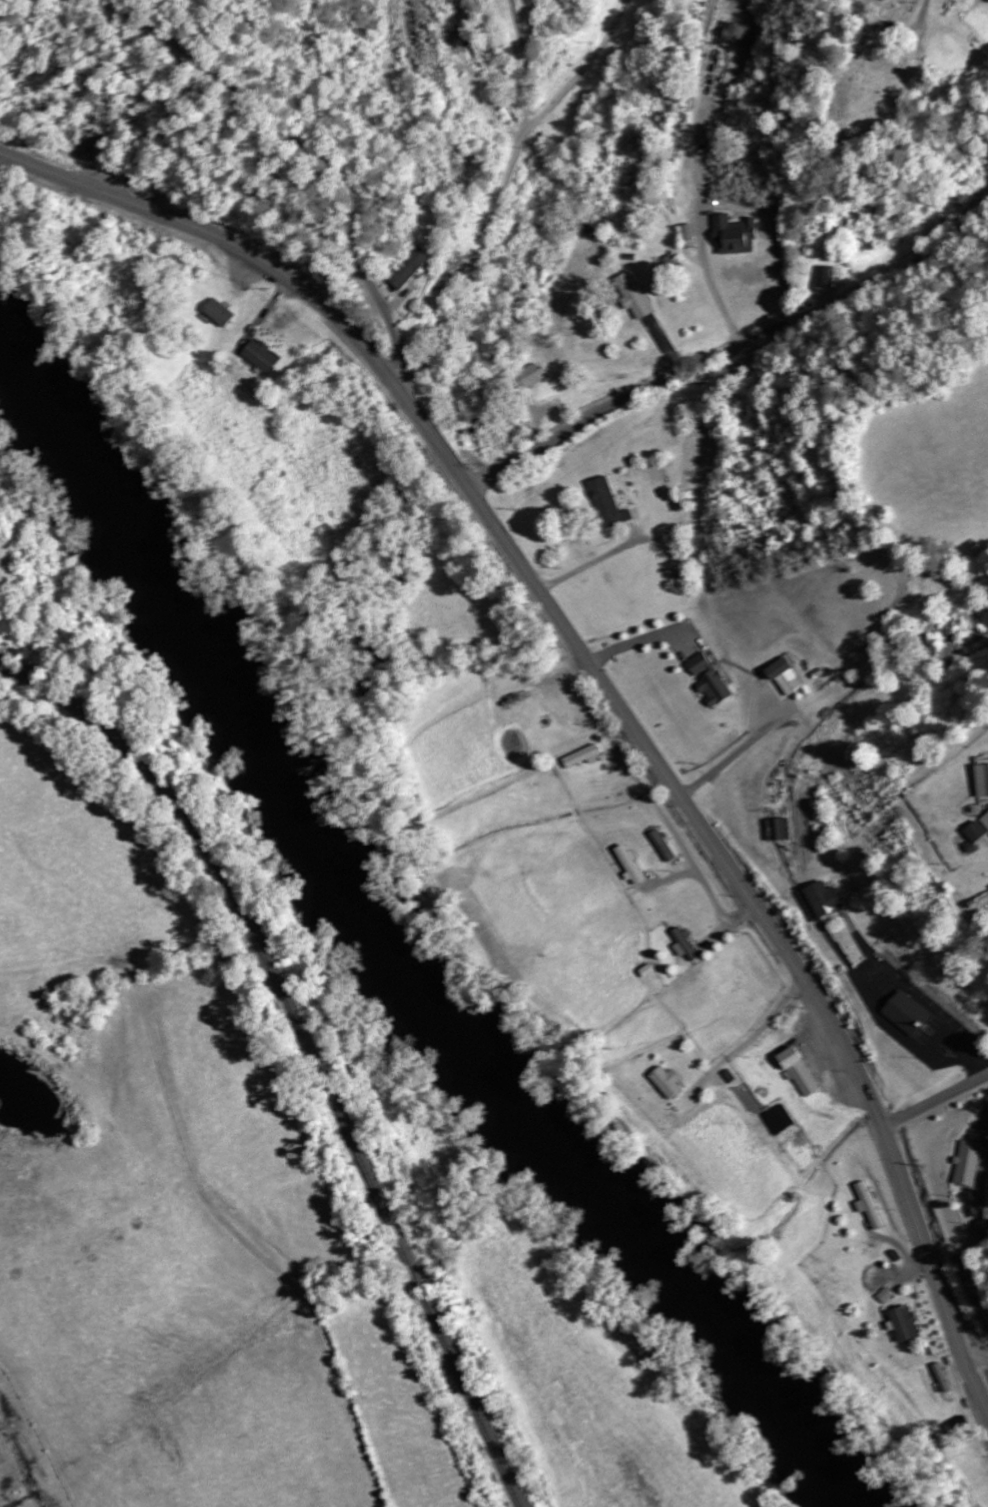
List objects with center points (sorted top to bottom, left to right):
building: (987, 0)
road: (921, 16)
building: (734, 36)
road: (302, 148)
road: (503, 183)
building: (732, 236)
building: (687, 237)
building: (409, 269)
building: (826, 277)
building: (635, 297)
building: (217, 314)
road: (729, 351)
building: (260, 357)
building: (530, 376)
road: (403, 386)
building: (607, 503)
building: (782, 677)
building: (708, 680)
road: (602, 684)
building: (579, 756)
building: (982, 779)
building: (985, 820)
building: (778, 829)
building: (975, 831)
building: (661, 845)
building: (627, 865)
building: (823, 899)
river: (415, 942)
building: (683, 945)
building: (905, 1013)
railway: (287, 1046)
building: (795, 1069)
building: (666, 1082)
road: (934, 1102)
building: (976, 1136)
building: (967, 1163)
building: (867, 1205)
building: (884, 1296)
building: (903, 1323)

